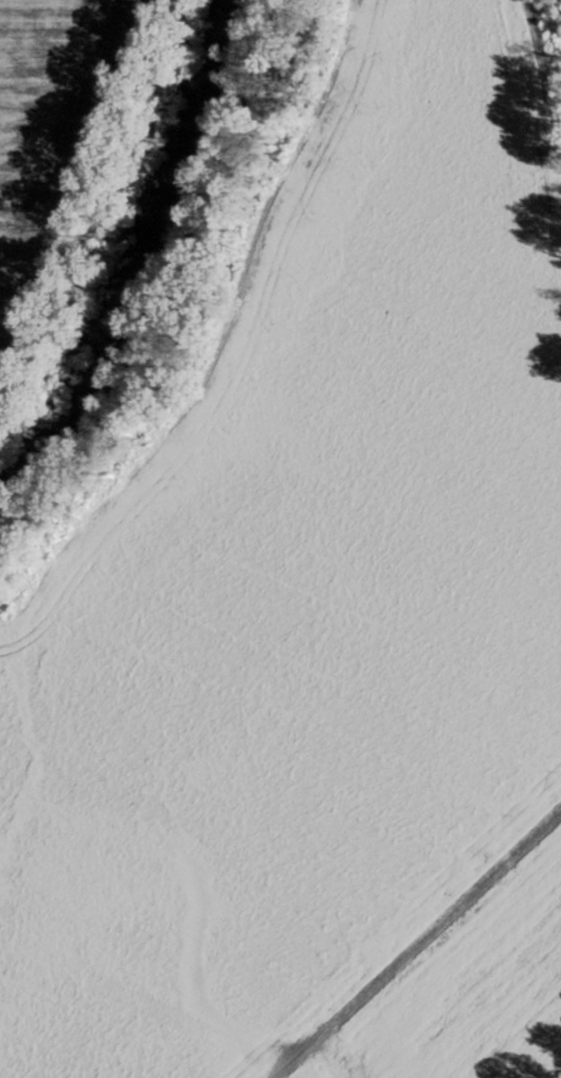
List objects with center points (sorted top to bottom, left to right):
river: (152, 248)

